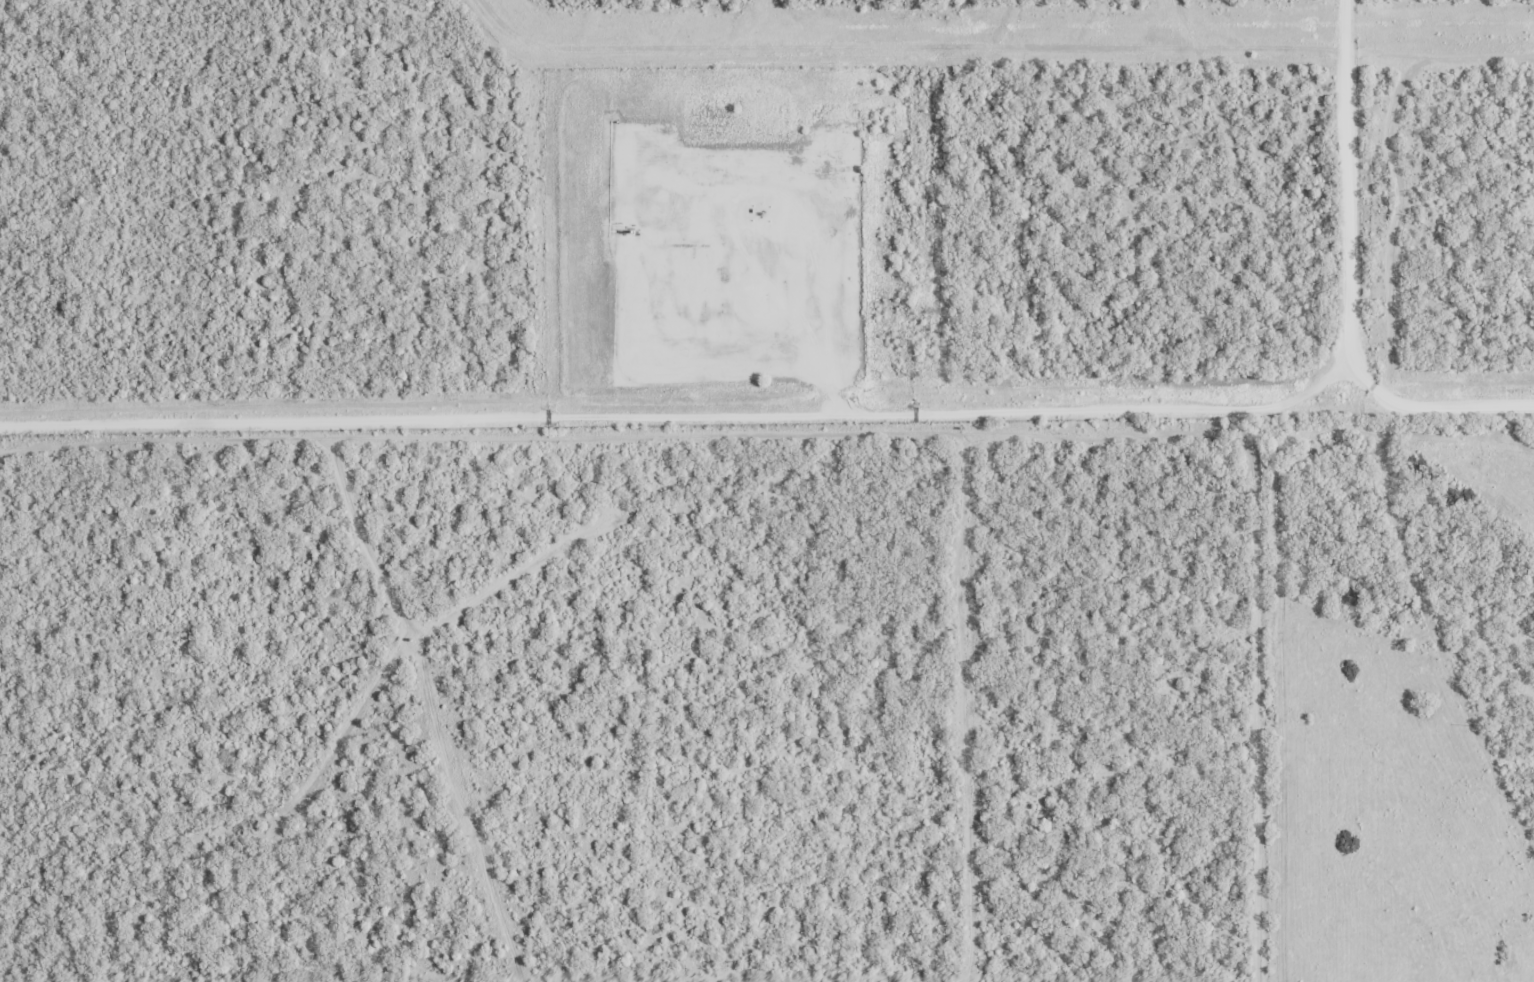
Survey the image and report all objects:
road: (1346, 184)
road: (682, 424)

